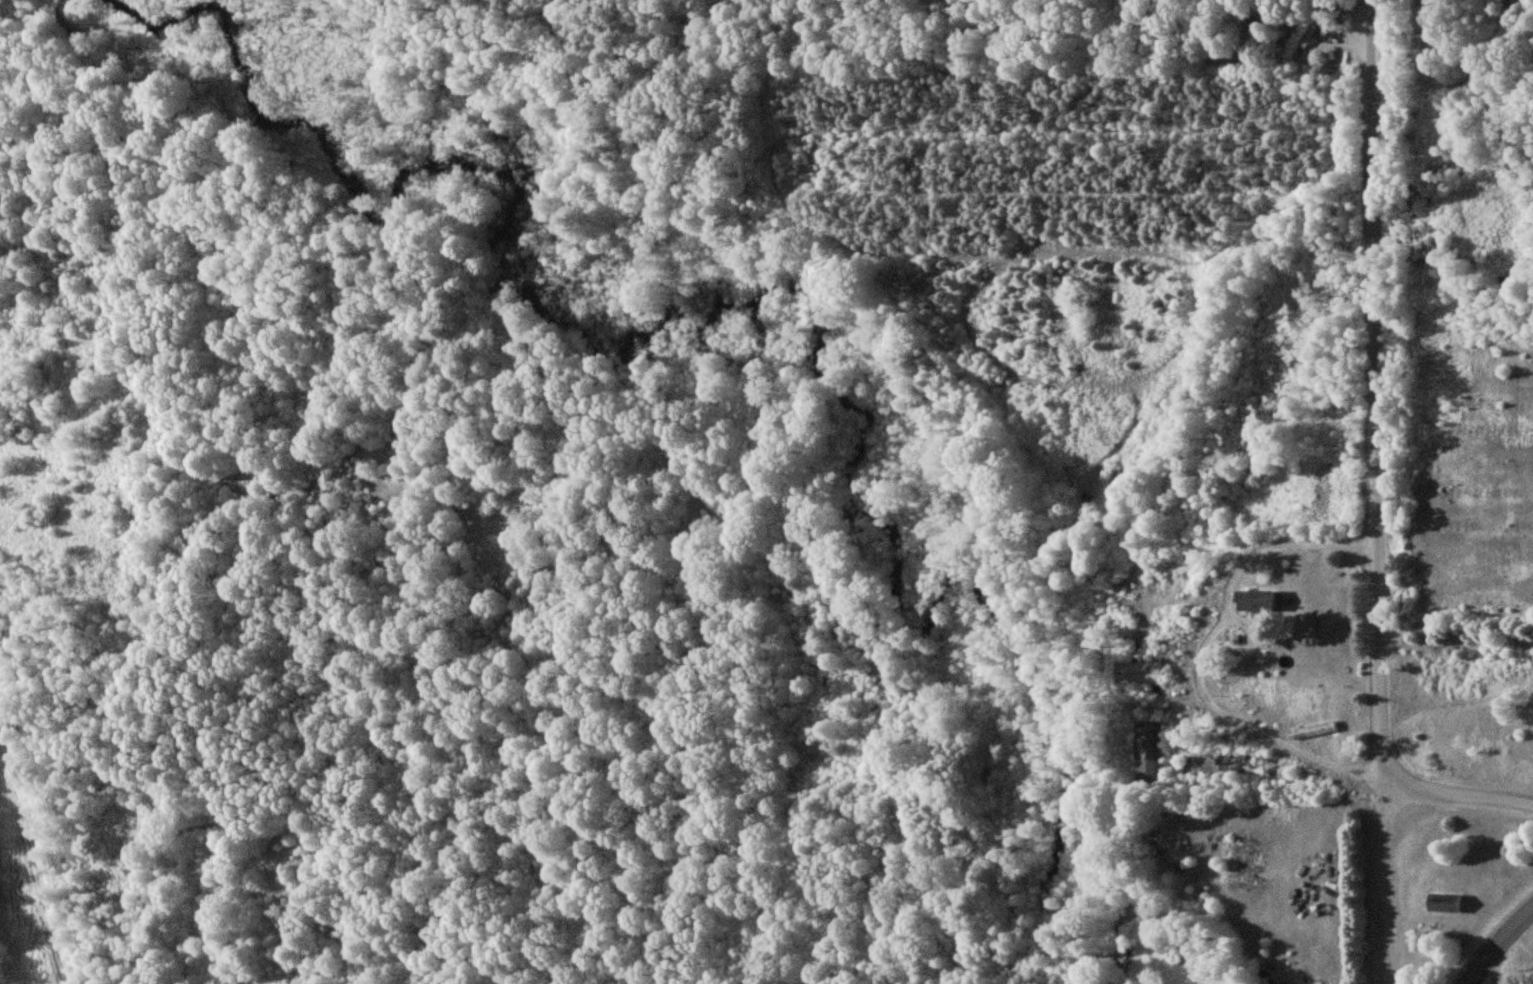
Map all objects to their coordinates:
building: (1301, 37)
road: (1377, 492)
building: (1255, 599)
road: (1206, 650)
building: (1139, 673)
building: (1151, 749)
building: (1207, 765)
road: (1458, 802)
building: (1444, 902)
road: (1498, 945)

